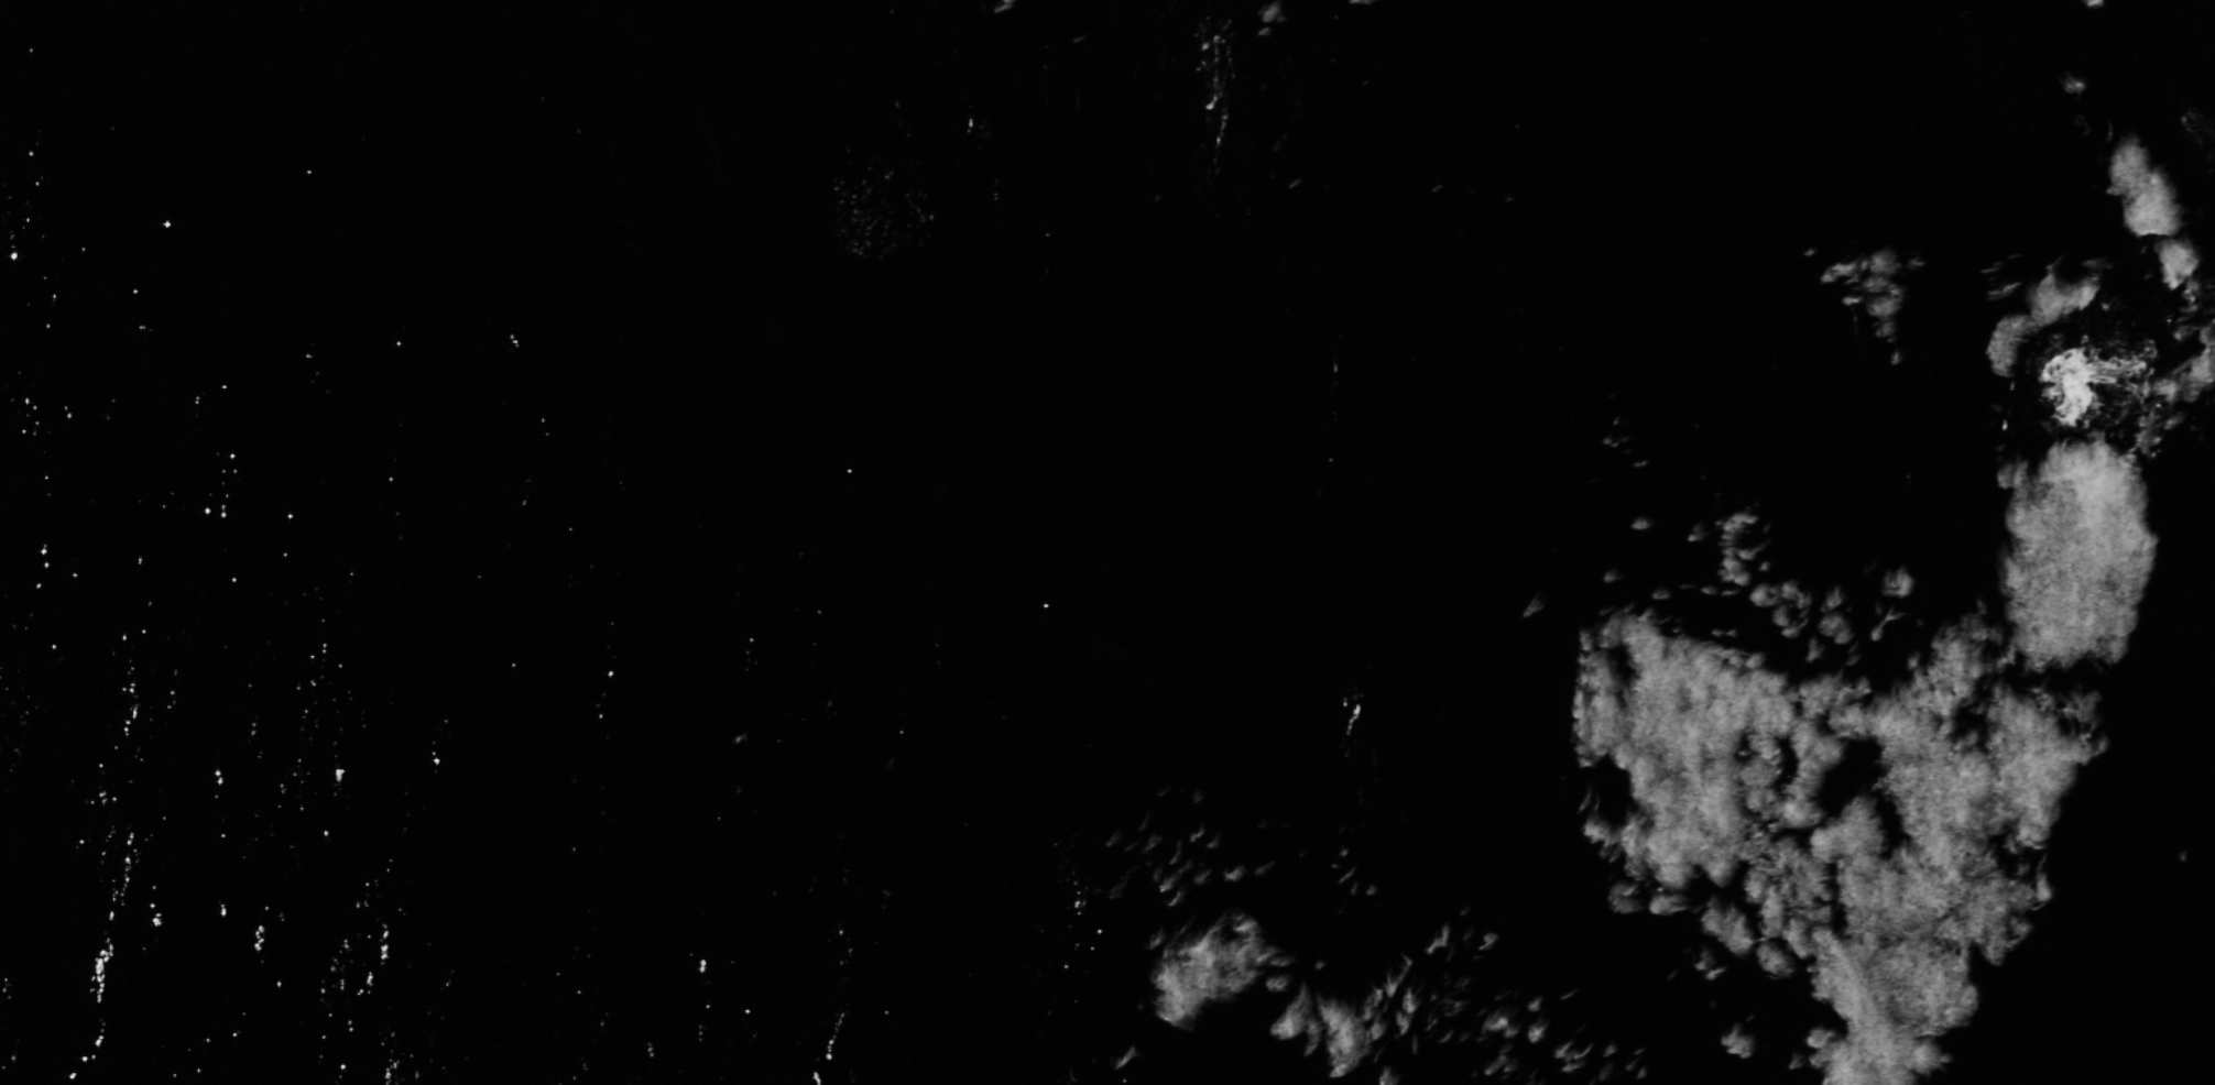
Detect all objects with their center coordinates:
building: (2052, 384)

